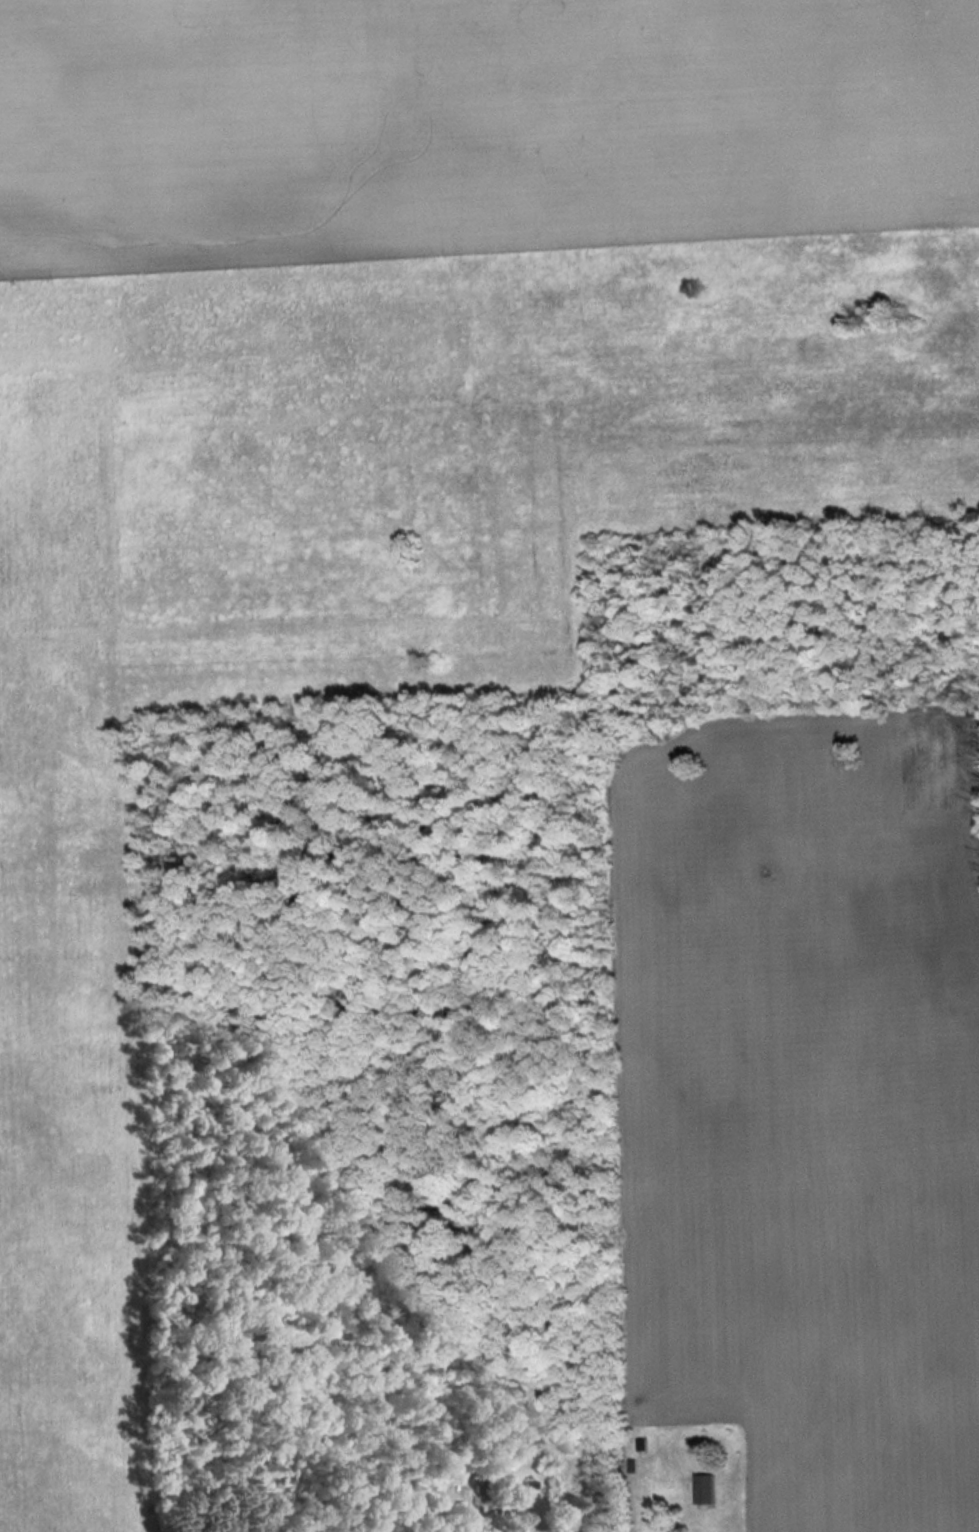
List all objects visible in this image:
building: (484, 1485)
building: (710, 1490)

